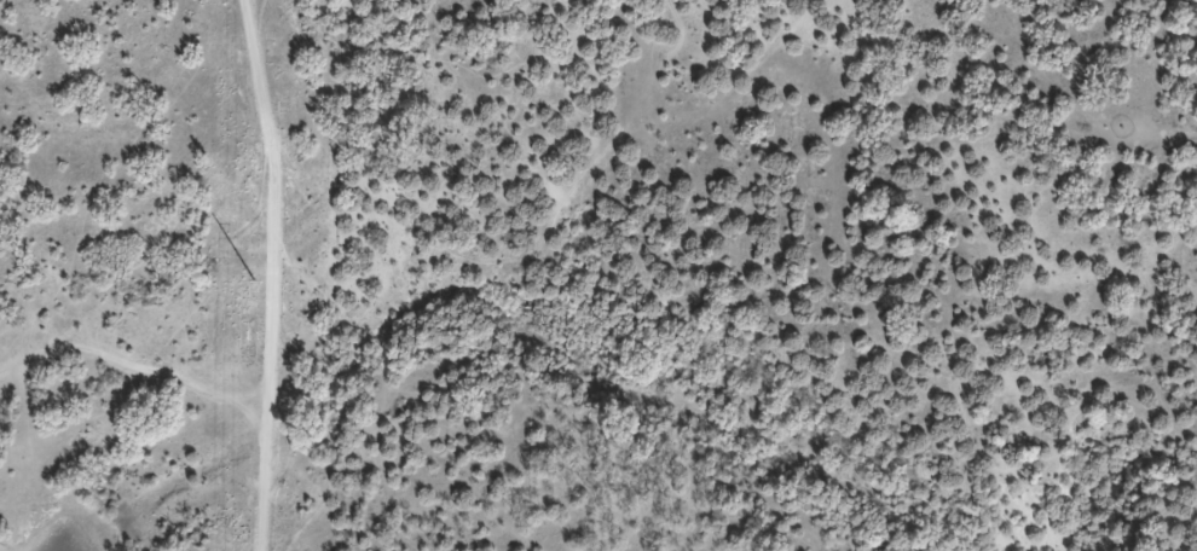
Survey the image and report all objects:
road: (118, 221)
road: (271, 273)
power tower: (256, 279)

